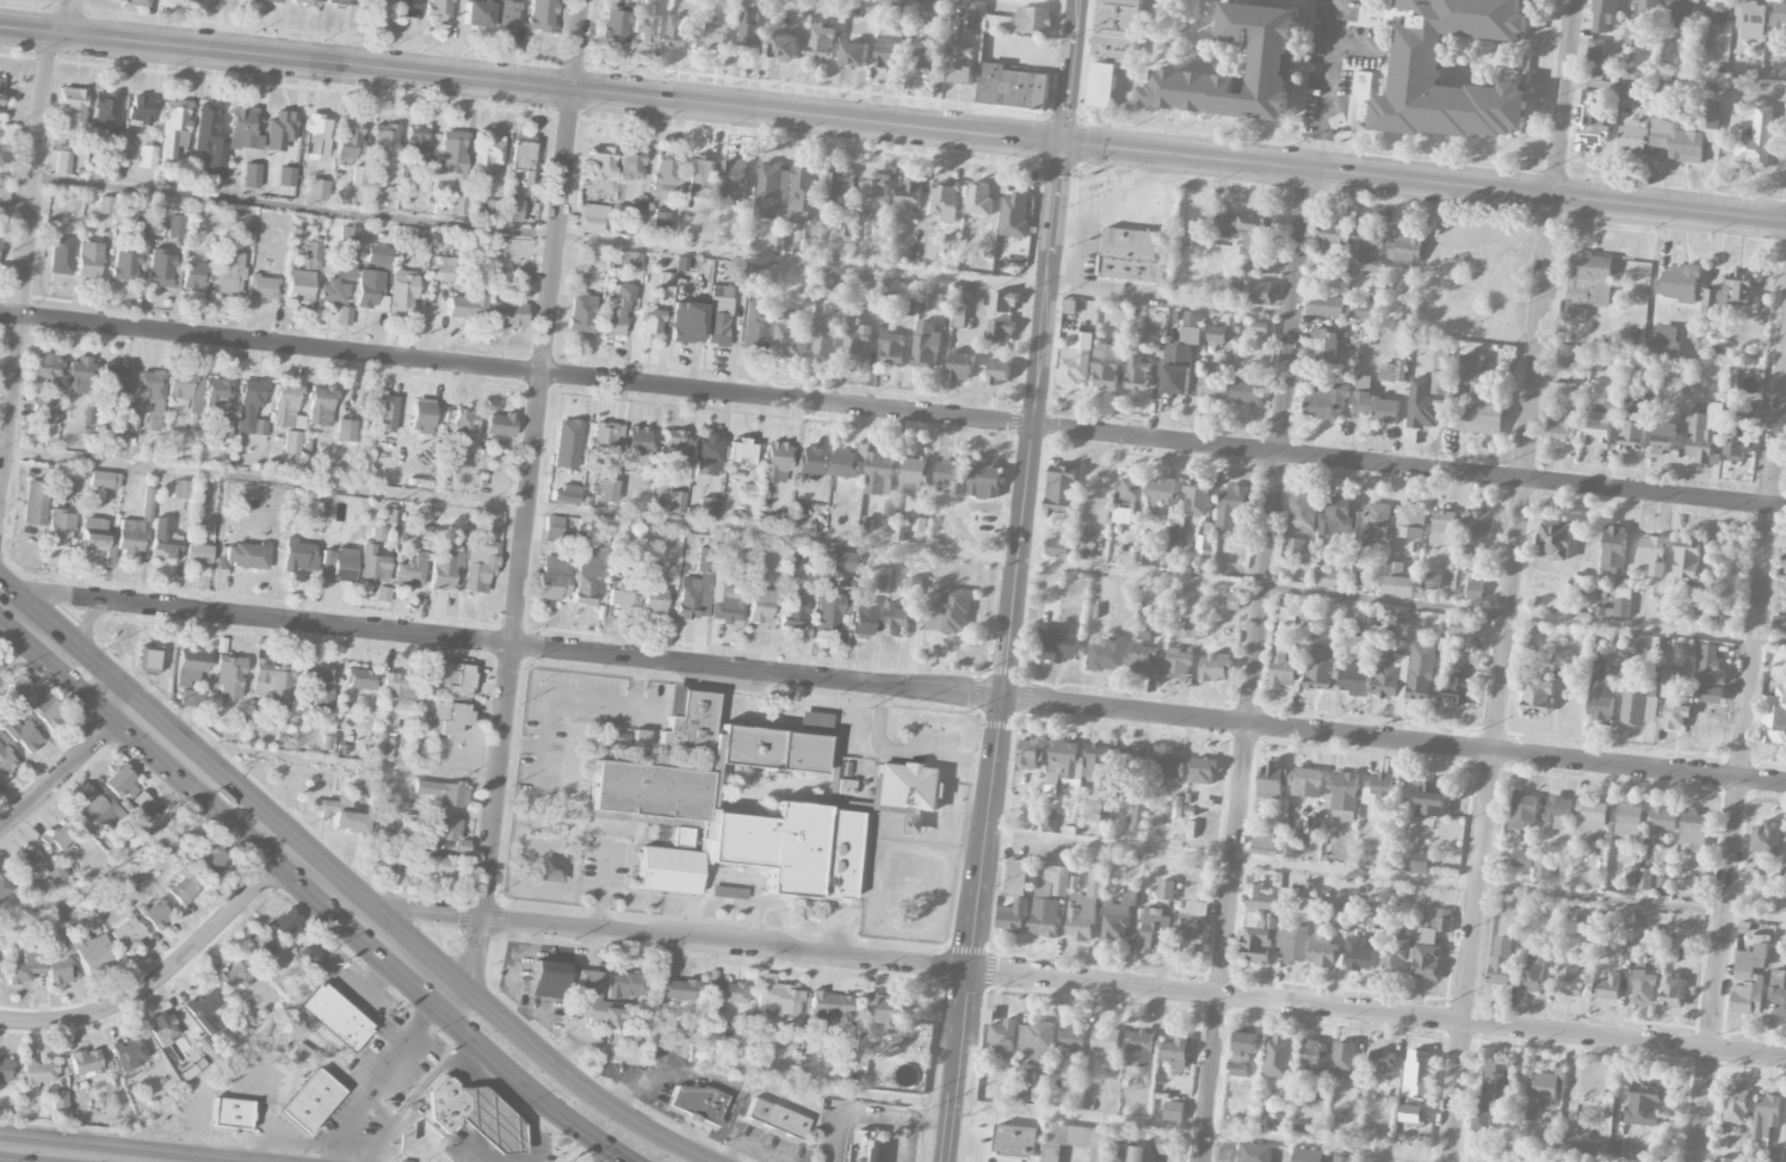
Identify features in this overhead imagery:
building: (270, 0)
building: (771, 0)
building: (132, 1)
building: (305, 2)
building: (339, 2)
building: (904, 4)
road: (1040, 4)
building: (375, 5)
building: (404, 8)
building: (937, 8)
building: (440, 11)
building: (1648, 11)
building: (1681, 12)
building: (1718, 12)
building: (477, 13)
building: (506, 13)
building: (1603, 14)
building: (540, 16)
building: (976, 16)
road: (70, 18)
building: (1750, 19)
building: (1033, 20)
building: (616, 23)
building: (997, 24)
building: (648, 26)
building: (1117, 29)
building: (750, 30)
building: (678, 32)
building: (716, 36)
building: (1632, 37)
building: (821, 42)
road: (1358, 45)
building: (785, 48)
building: (888, 50)
building: (1594, 50)
building: (854, 55)
building: (925, 58)
building: (1273, 60)
building: (1419, 61)
building: (960, 64)
road: (1071, 72)
building: (0, 80)
building: (1593, 84)
road: (1328, 85)
building: (1362, 85)
building: (1101, 86)
road: (531, 87)
building: (1012, 87)
building: (1625, 99)
building: (72, 109)
building: (141, 110)
building: (105, 113)
building: (1710, 116)
building: (174, 129)
building: (243, 129)
building: (1589, 129)
building: (279, 130)
building: (315, 134)
building: (1674, 134)
building: (350, 138)
building: (385, 140)
building: (1755, 140)
building: (210, 141)
building: (416, 141)
building: (1631, 141)
traffic signals: (1064, 146)
building: (452, 152)
building: (521, 152)
building: (488, 154)
building: (148, 156)
building: (63, 162)
building: (601, 163)
building: (631, 163)
building: (665, 171)
building: (251, 175)
building: (286, 177)
building: (529, 178)
building: (699, 178)
road: (1425, 181)
building: (733, 183)
building: (840, 187)
building: (317, 188)
building: (772, 190)
building: (876, 191)
building: (5, 194)
building: (802, 196)
building: (908, 197)
building: (979, 200)
building: (946, 202)
building: (106, 205)
building: (513, 210)
building: (1015, 215)
building: (592, 217)
building: (660, 223)
building: (174, 225)
building: (846, 234)
building: (880, 234)
building: (1334, 236)
building: (1249, 237)
building: (952, 240)
road: (645, 243)
building: (347, 246)
building: (131, 251)
building: (1367, 251)
building: (313, 254)
building: (61, 255)
building: (379, 255)
building: (1135, 255)
building: (1404, 256)
building: (630, 259)
building: (88, 260)
road: (26, 267)
building: (160, 268)
building: (196, 273)
building: (229, 273)
building: (346, 273)
building: (443, 273)
building: (519, 278)
building: (838, 283)
building: (1587, 284)
building: (1679, 284)
building: (299, 285)
building: (264, 286)
building: (371, 290)
building: (334, 292)
building: (1730, 292)
building: (402, 293)
building: (1257, 293)
building: (1003, 303)
building: (466, 305)
building: (954, 305)
building: (1325, 307)
building: (616, 309)
building: (1359, 309)
building: (581, 313)
building: (507, 314)
building: (717, 319)
building: (753, 319)
building: (1191, 320)
building: (686, 322)
building: (650, 323)
building: (1000, 332)
building: (790, 333)
building: (1216, 335)
building: (823, 338)
building: (857, 342)
building: (1663, 344)
building: (1323, 345)
building: (926, 346)
building: (892, 348)
building: (1076, 359)
road: (1785, 365)
building: (1106, 366)
building: (960, 367)
building: (1176, 369)
building: (45, 371)
building: (999, 372)
building: (1137, 372)
building: (1392, 372)
building: (1439, 373)
building: (79, 375)
building: (112, 382)
building: (1212, 385)
building: (185, 390)
building: (1246, 390)
building: (152, 391)
building: (1565, 393)
building: (216, 395)
building: (1327, 402)
building: (288, 406)
building: (321, 406)
building: (251, 408)
building: (1377, 408)
building: (43, 409)
road: (892, 412)
building: (385, 414)
building: (422, 415)
building: (1481, 418)
building: (500, 425)
building: (464, 426)
building: (1631, 427)
building: (346, 429)
building: (1595, 429)
building: (1562, 431)
building: (1704, 433)
building: (605, 437)
building: (1664, 438)
building: (292, 441)
building: (567, 444)
building: (637, 444)
building: (670, 445)
building: (1735, 445)
building: (741, 452)
building: (706, 455)
road: (109, 461)
building: (810, 461)
building: (774, 463)
building: (843, 464)
building: (879, 474)
building: (914, 476)
building: (950, 477)
building: (104, 480)
building: (984, 482)
building: (180, 489)
building: (1061, 489)
building: (607, 490)
building: (1132, 490)
building: (1162, 493)
building: (1197, 499)
building: (676, 501)
building: (35, 502)
road: (530, 502)
building: (148, 505)
building: (709, 507)
building: (1230, 508)
building: (889, 509)
building: (1095, 509)
building: (1303, 512)
building: (1123, 517)
building: (1337, 517)
building: (1376, 521)
building: (1410, 523)
building: (60, 529)
building: (1442, 529)
building: (554, 530)
building: (1477, 531)
building: (130, 536)
building: (99, 538)
building: (1555, 539)
building: (165, 540)
building: (1203, 546)
building: (1294, 546)
building: (1061, 549)
building: (1613, 550)
building: (198, 552)
building: (1084, 552)
building: (247, 555)
building: (298, 556)
building: (1652, 556)
building: (705, 558)
building: (1687, 560)
building: (841, 561)
building: (480, 563)
building: (338, 564)
building: (372, 564)
road: (1076, 565)
building: (1782, 565)
building: (444, 569)
building: (410, 570)
building: (588, 575)
building: (554, 579)
building: (1328, 579)
road: (1512, 580)
building: (1397, 581)
building: (1430, 582)
building: (913, 586)
building: (1475, 591)
building: (623, 594)
building: (696, 598)
building: (654, 601)
building: (1229, 601)
building: (1619, 601)
building: (1658, 604)
building: (761, 606)
building: (828, 607)
building: (1290, 610)
building: (792, 611)
building: (948, 612)
building: (1692, 612)
road: (18, 614)
building: (1393, 616)
building: (863, 619)
building: (896, 620)
building: (1157, 620)
building: (1779, 624)
building: (1461, 629)
building: (1193, 631)
building: (1058, 648)
road: (18, 651)
road: (1008, 654)
building: (1106, 655)
road: (92, 657)
building: (1561, 657)
building: (149, 660)
building: (1143, 660)
building: (191, 663)
building: (1178, 663)
road: (1254, 666)
building: (1711, 666)
building: (1320, 667)
building: (1215, 668)
building: (0, 669)
building: (1283, 670)
building: (1420, 673)
building: (229, 676)
building: (1354, 676)
building: (1391, 676)
building: (360, 679)
building: (457, 680)
road: (72, 682)
building: (273, 682)
building: (1668, 684)
building: (319, 686)
road: (892, 687)
building: (1457, 690)
building: (397, 692)
building: (1599, 692)
building: (1537, 697)
building: (191, 698)
building: (1638, 704)
building: (44, 707)
building: (1675, 715)
building: (450, 717)
building: (1774, 718)
building: (690, 721)
building: (814, 722)
building: (21, 735)
building: (639, 738)
building: (383, 748)
building: (770, 749)
road: (907, 750)
road: (1742, 752)
building: (1030, 754)
building: (830, 755)
building: (1133, 759)
building: (6, 761)
road: (351, 764)
building: (1077, 764)
building: (1166, 768)
building: (1203, 771)
road: (66, 773)
building: (1273, 780)
building: (120, 781)
building: (1308, 783)
building: (907, 786)
building: (648, 791)
building: (444, 792)
building: (1377, 793)
building: (1342, 797)
building: (1432, 801)
building: (1176, 808)
building: (143, 809)
building: (89, 810)
building: (1106, 810)
building: (1524, 811)
building: (1558, 812)
building: (342, 815)
building: (1155, 816)
building: (1137, 818)
building: (1589, 820)
building: (1629, 821)
building: (1662, 821)
building: (439, 830)
building: (705, 830)
building: (1694, 832)
building: (61, 835)
building: (680, 836)
building: (1766, 839)
building: (1263, 841)
building: (792, 848)
road: (289, 852)
building: (210, 855)
building: (1521, 859)
building: (1420, 861)
building: (439, 866)
building: (27, 867)
road: (111, 870)
building: (668, 870)
building: (1541, 870)
building: (396, 876)
road: (1385, 876)
building: (1015, 877)
building: (1630, 878)
building: (1058, 879)
building: (1644, 879)
building: (185, 885)
building: (4, 888)
building: (1166, 890)
building: (728, 892)
building: (1259, 900)
building: (1084, 908)
building: (156, 914)
building: (1587, 915)
building: (1339, 916)
building: (1013, 917)
building: (1045, 917)
building: (1118, 917)
building: (1441, 920)
building: (285, 922)
building: (1191, 929)
building: (1155, 932)
building: (128, 935)
building: (1427, 935)
building: (1256, 941)
building: (1292, 942)
building: (1322, 947)
building: (259, 948)
building: (1623, 950)
building: (93, 952)
building: (311, 953)
building: (1636, 954)
building: (1358, 956)
building: (1393, 958)
building: (1502, 962)
building: (1426, 963)
building: (26, 965)
building: (58, 971)
building: (1532, 972)
building: (235, 975)
building: (1568, 976)
road: (165, 977)
building: (548, 979)
road: (1073, 981)
building: (1749, 982)
building: (625, 984)
building: (1608, 988)
building: (1643, 988)
building: (676, 989)
building: (1671, 991)
building: (1778, 993)
building: (723, 996)
building: (777, 997)
building: (594, 1001)
building: (828, 1008)
building: (204, 1009)
building: (882, 1010)
building: (335, 1016)
building: (165, 1034)
building: (1003, 1037)
building: (1036, 1039)
building: (1073, 1040)
building: (1106, 1042)
road: (537, 1049)
building: (1138, 1049)
building: (1243, 1052)
building: (129, 1053)
building: (1176, 1053)
building: (1315, 1056)
building: (1278, 1057)
building: (1343, 1058)
building: (1382, 1061)
building: (85, 1062)
building: (36, 1069)
building: (5, 1070)
building: (1026, 1074)
road: (383, 1075)
building: (1495, 1082)
road: (529, 1087)
building: (1545, 1087)
building: (60, 1100)
building: (310, 1100)
building: (696, 1102)
building: (1643, 1105)
building: (1736, 1106)
road: (976, 1107)
building: (1174, 1112)
building: (230, 1113)
building: (1533, 1113)
building: (474, 1115)
road: (871, 1117)
building: (775, 1118)
building: (1766, 1118)
building: (1481, 1121)
building: (1549, 1127)
road: (663, 1139)
road: (898, 1141)
building: (1015, 1142)
building: (1076, 1142)
building: (1580, 1143)
building: (866, 1145)
building: (1151, 1150)
building: (1614, 1150)
road: (600, 1151)
building: (1254, 1152)
road: (67, 1154)
building: (1774, 1155)
building: (1308, 1156)
building: (1343, 1158)
building: (1724, 1160)
road: (1461, 1161)

